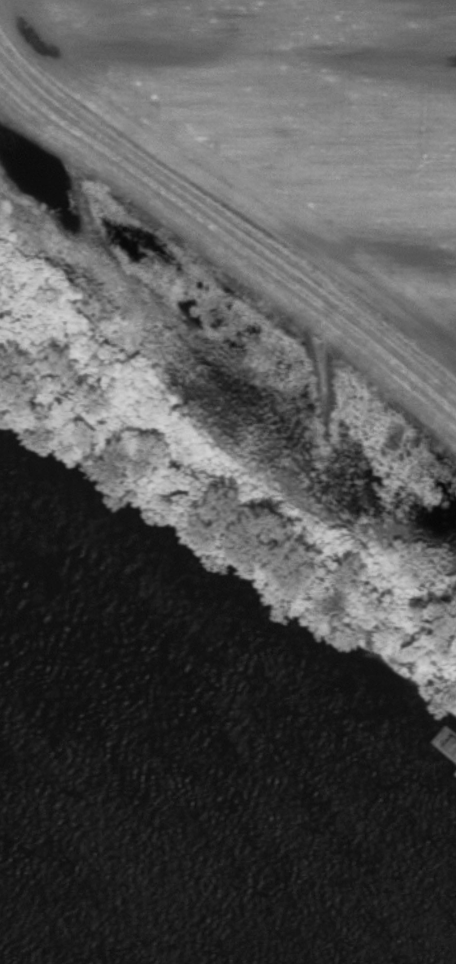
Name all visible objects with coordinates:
river: (123, 891)

